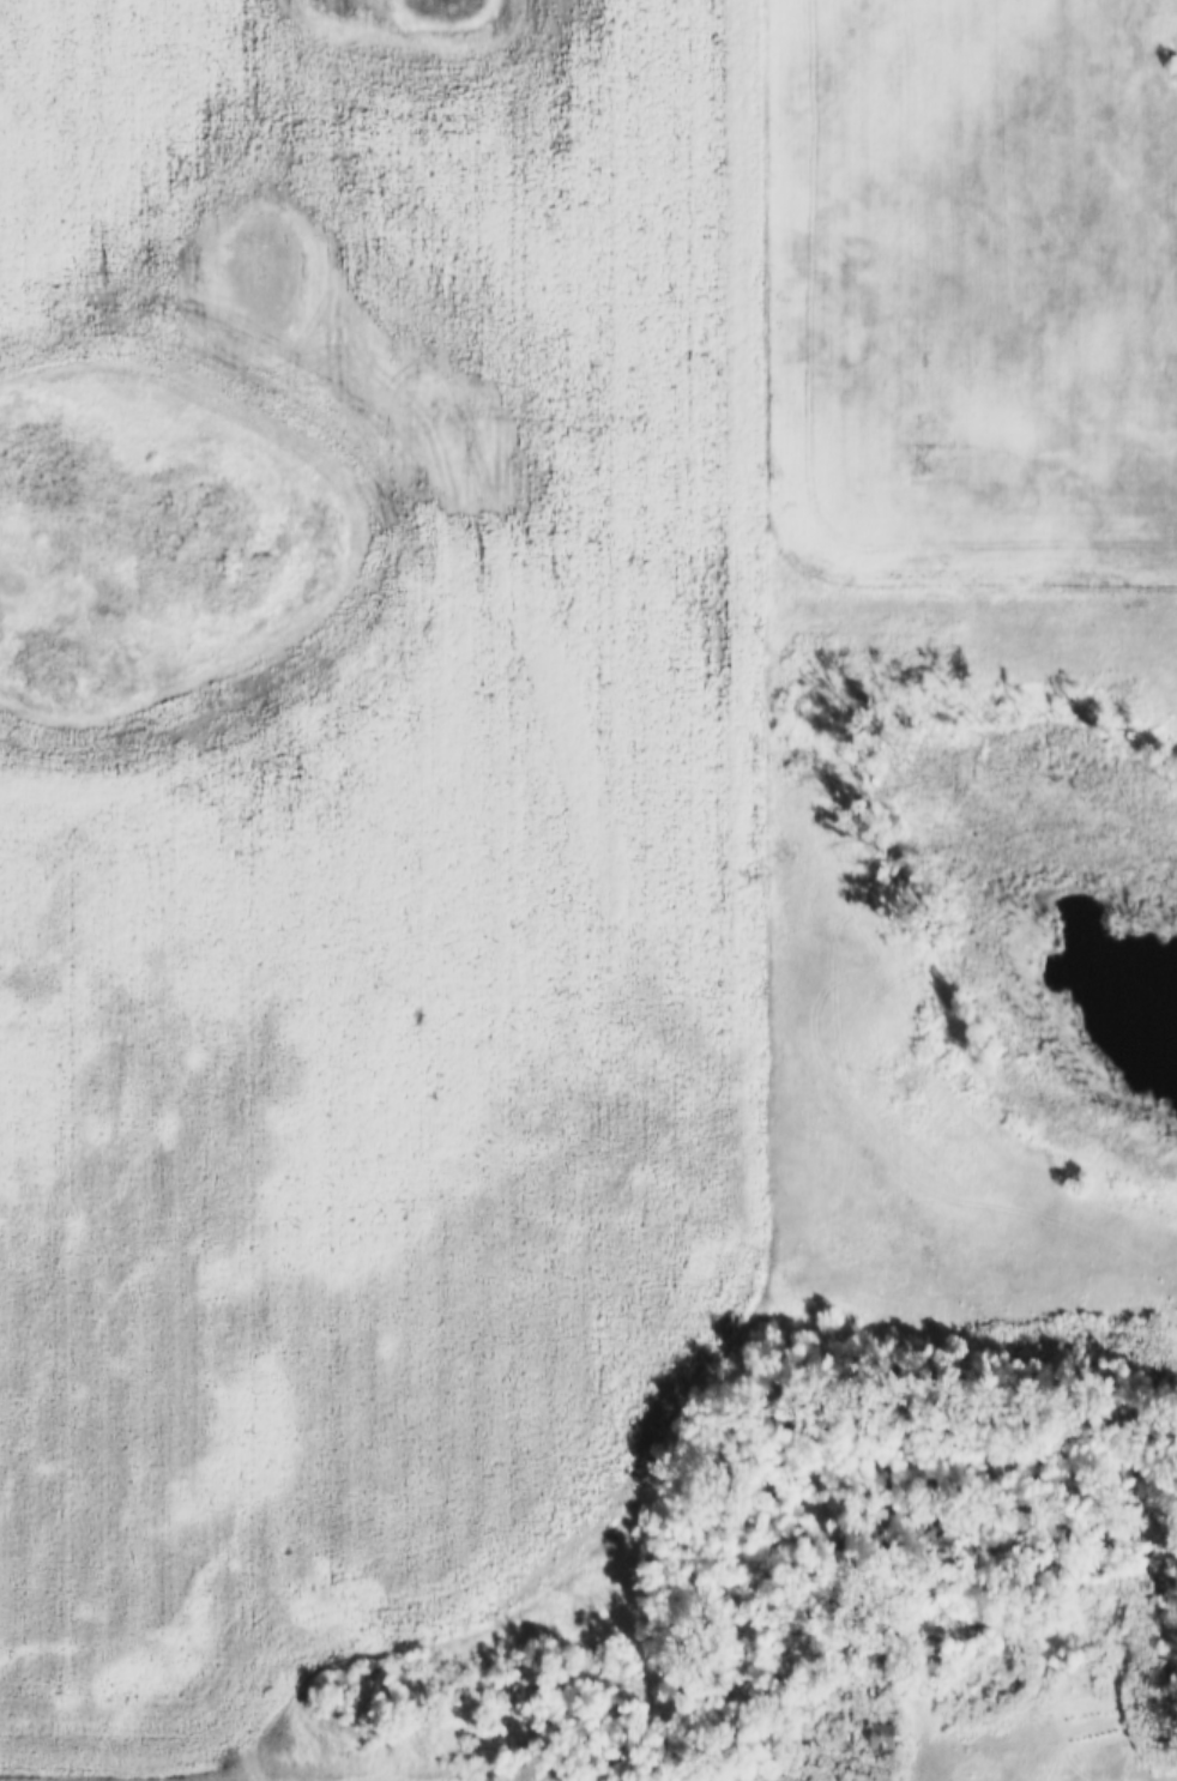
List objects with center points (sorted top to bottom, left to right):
building: (1088, 1565)
building: (877, 1731)

